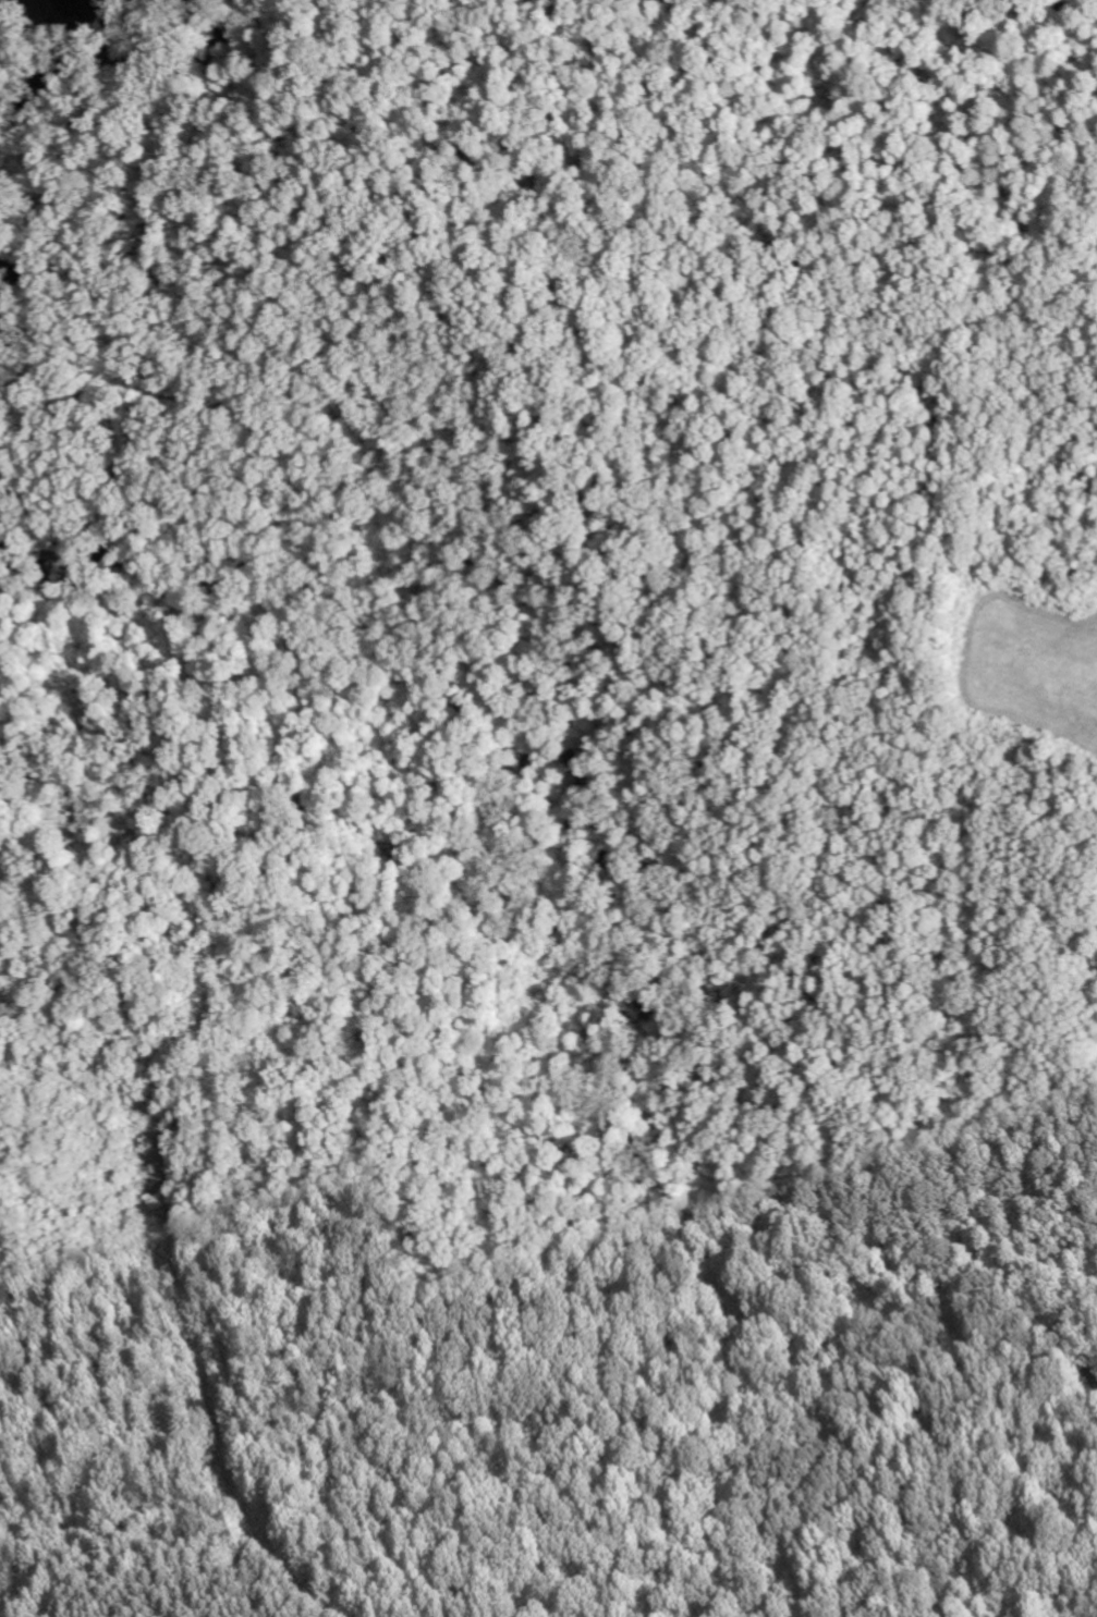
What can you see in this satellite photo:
river: (0, 0)
road: (222, 1442)

